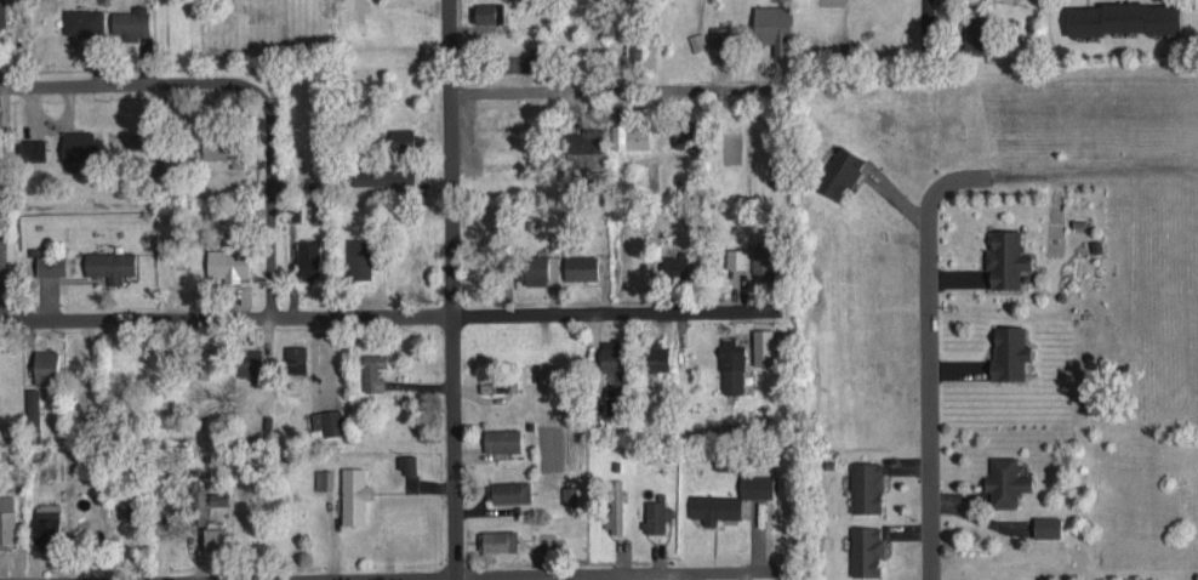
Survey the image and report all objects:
building: (489, 10)
building: (2, 12)
road: (624, 12)
road: (925, 12)
building: (1125, 16)
building: (84, 19)
building: (132, 22)
building: (775, 27)
road: (803, 30)
building: (721, 34)
building: (976, 34)
building: (698, 40)
building: (635, 47)
building: (515, 62)
road: (243, 83)
road: (598, 89)
building: (632, 135)
building: (688, 135)
building: (403, 136)
building: (583, 140)
building: (81, 144)
building: (33, 147)
building: (224, 148)
building: (840, 171)
building: (383, 176)
building: (2, 221)
building: (738, 256)
building: (309, 257)
building: (360, 257)
building: (764, 257)
building: (1008, 257)
building: (229, 262)
building: (52, 263)
building: (112, 263)
building: (675, 265)
building: (535, 266)
building: (581, 266)
road: (450, 290)
road: (598, 309)
road: (226, 317)
building: (765, 345)
building: (1010, 351)
building: (612, 354)
building: (660, 354)
building: (296, 357)
building: (250, 360)
building: (211, 363)
building: (46, 364)
building: (734, 366)
building: (373, 370)
building: (616, 389)
building: (34, 414)
building: (326, 421)
building: (503, 439)
road: (930, 455)
building: (725, 461)
building: (409, 464)
building: (325, 478)
building: (1006, 481)
building: (758, 484)
building: (866, 485)
building: (512, 490)
building: (354, 494)
building: (569, 494)
building: (218, 497)
building: (615, 504)
building: (715, 506)
building: (655, 514)
building: (7, 521)
building: (47, 525)
building: (1048, 525)
building: (215, 536)
building: (497, 539)
building: (867, 550)
road: (483, 574)

